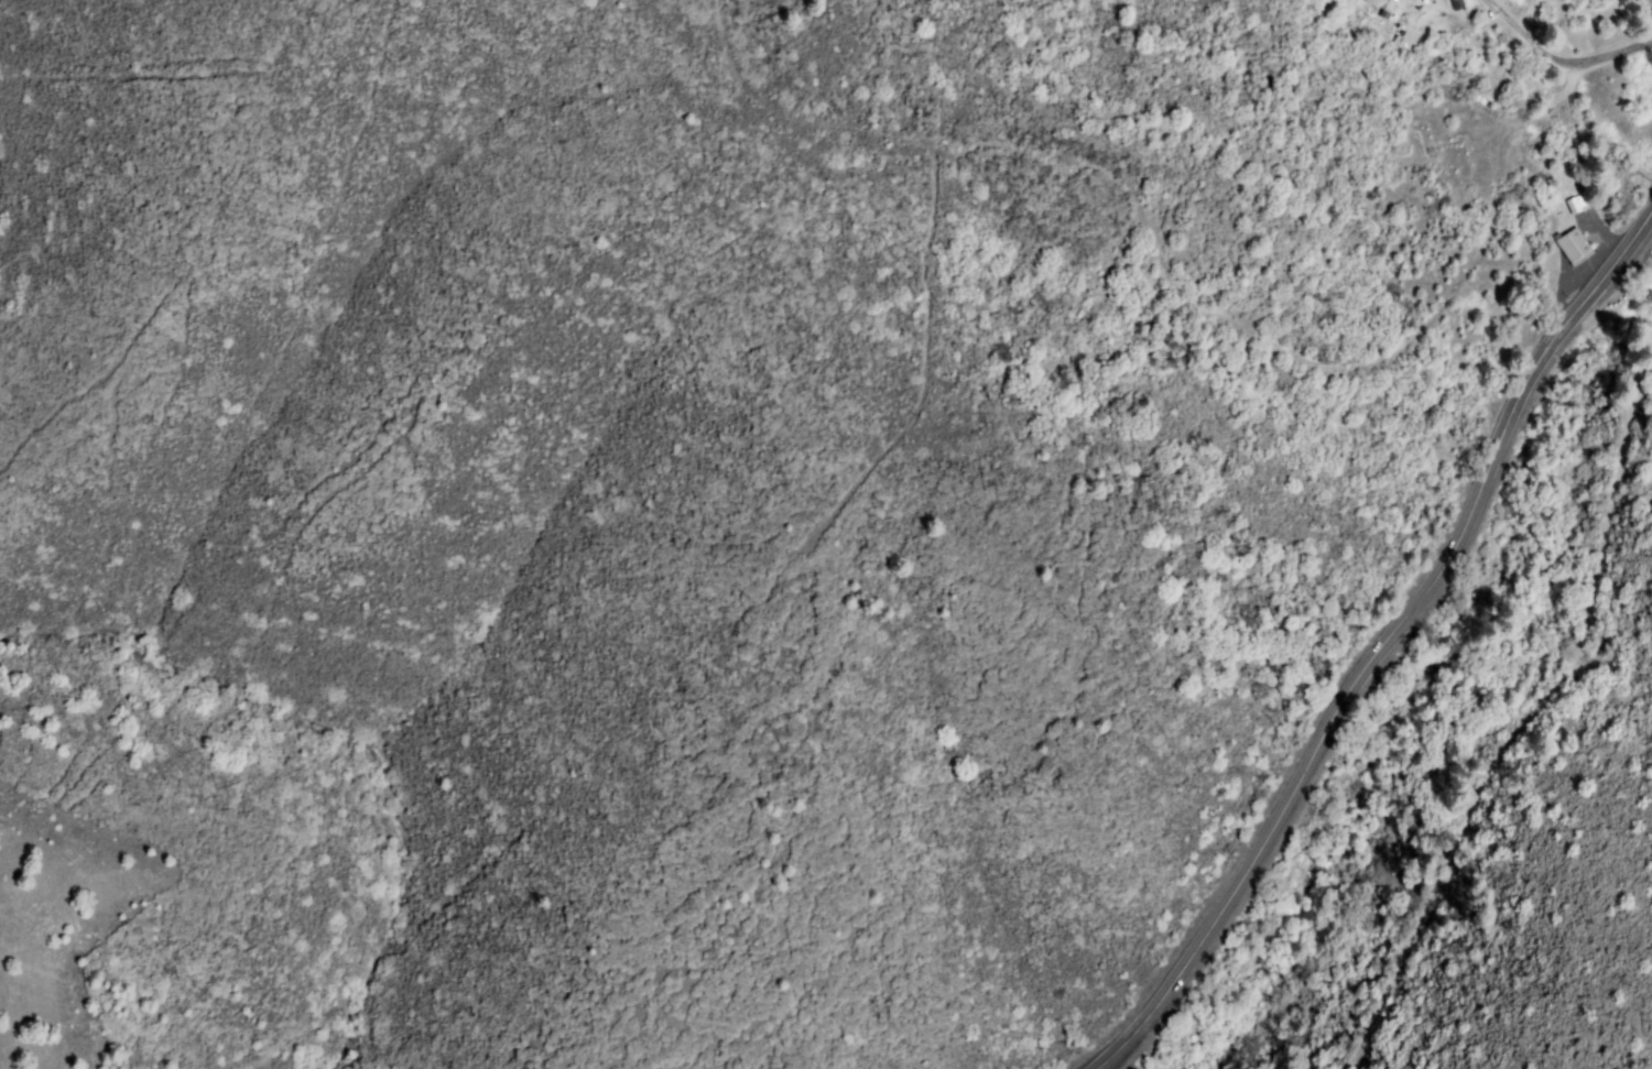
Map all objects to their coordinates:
building: (1385, 3)
road: (1551, 40)
road: (1579, 83)
building: (1577, 204)
building: (1576, 248)
road: (1566, 325)
road: (1532, 722)
road: (1307, 763)

